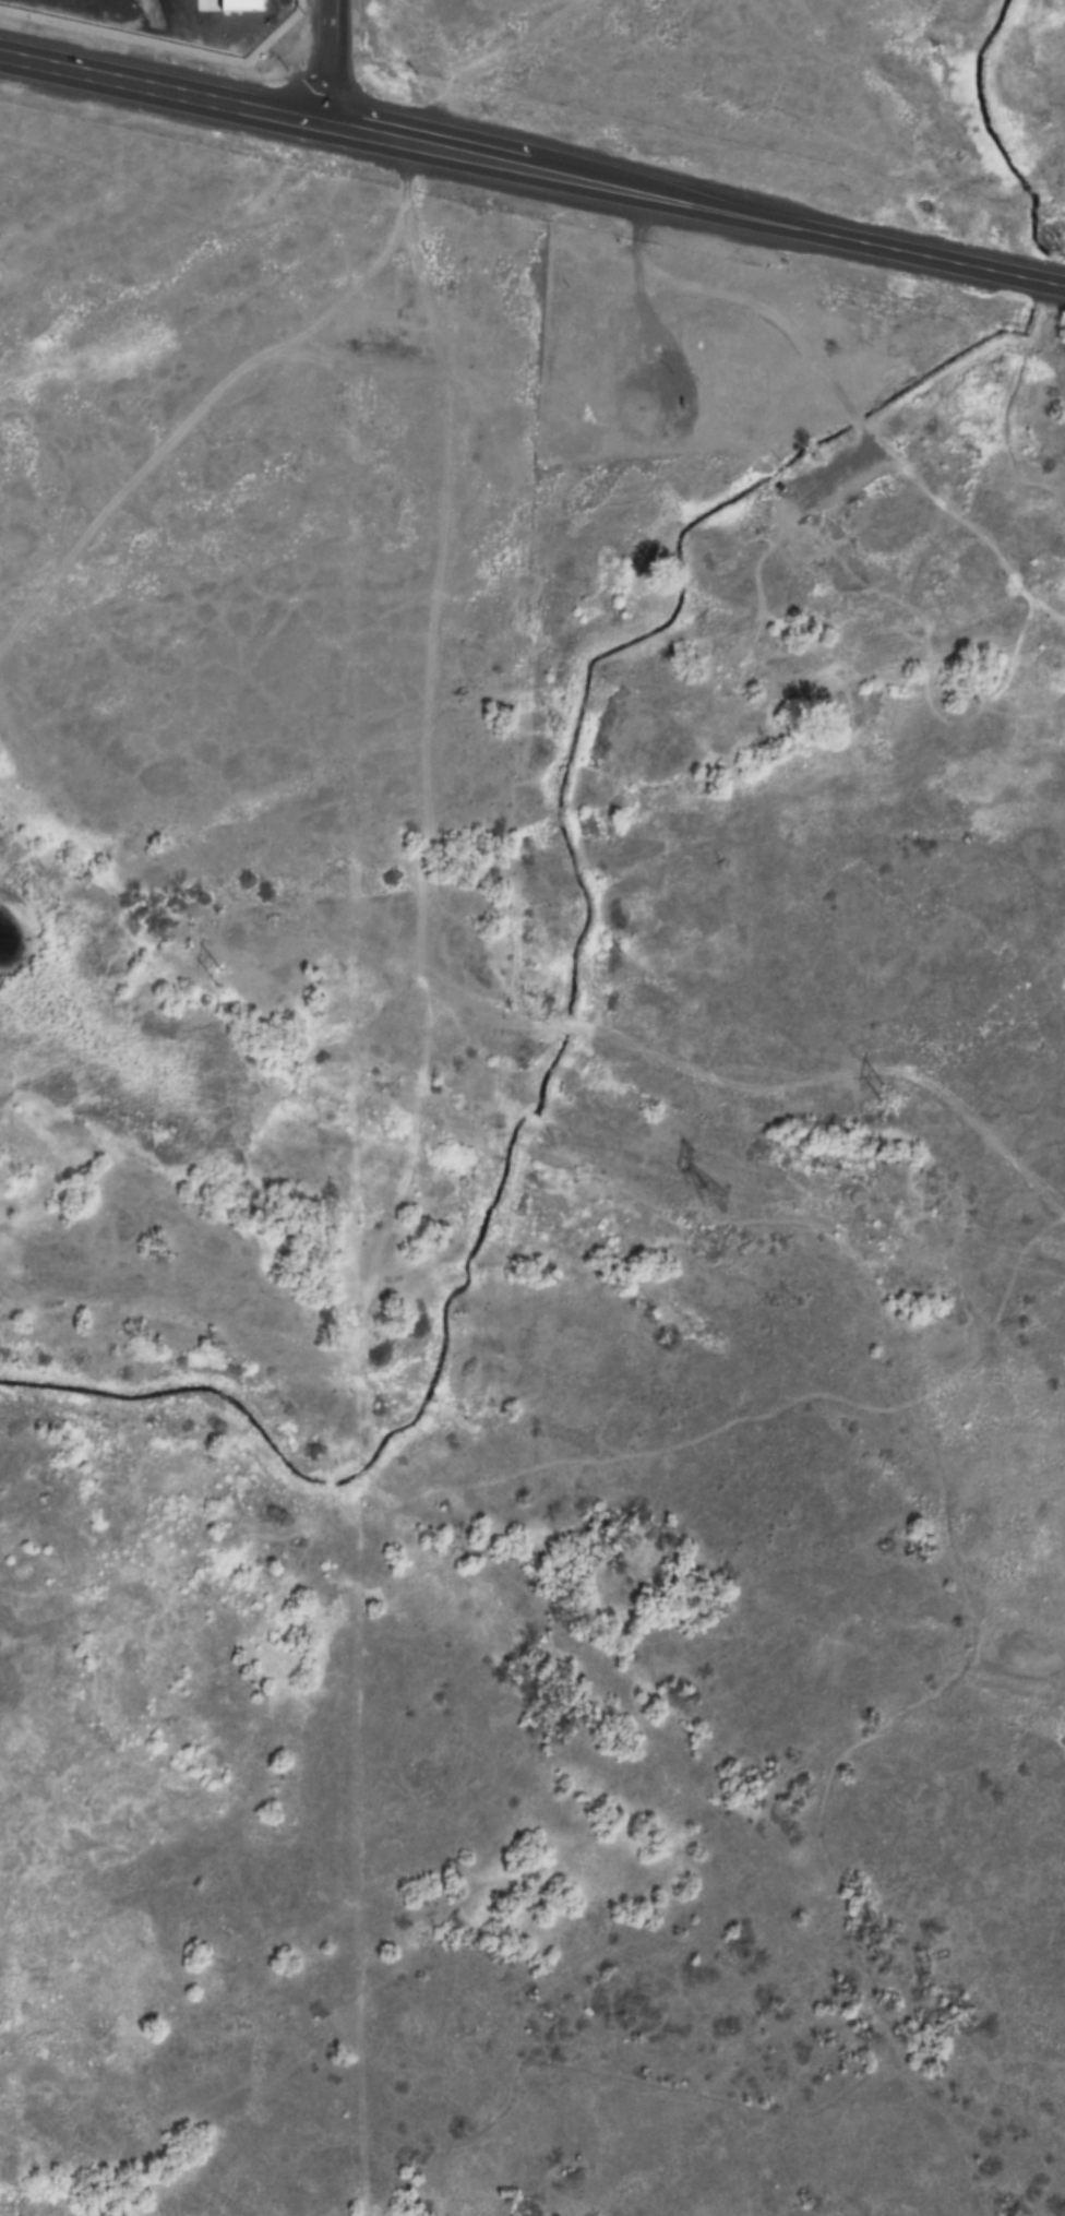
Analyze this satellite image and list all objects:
road: (336, 61)
road: (532, 166)
building: (738, 395)
power tower: (715, 1189)

